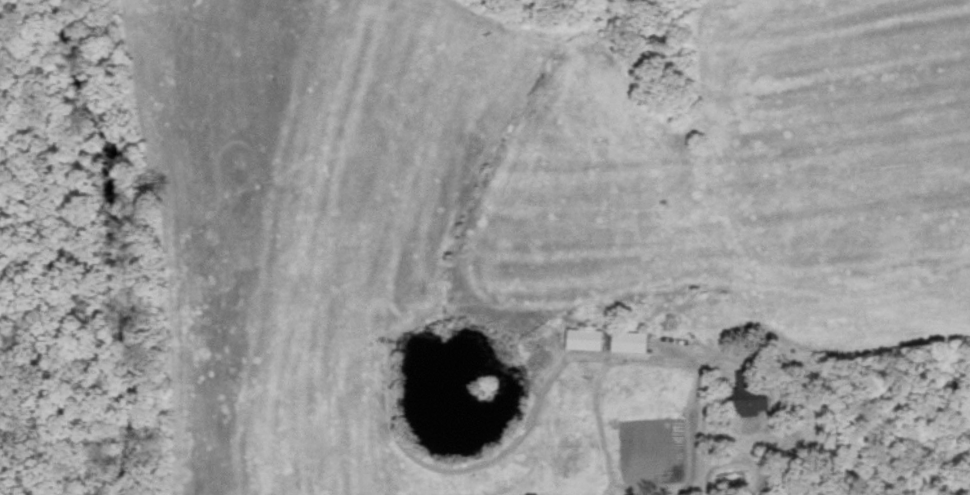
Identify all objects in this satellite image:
park: (41, 304)
building: (584, 337)
building: (628, 340)
road: (760, 362)
building: (751, 391)
road: (597, 428)

